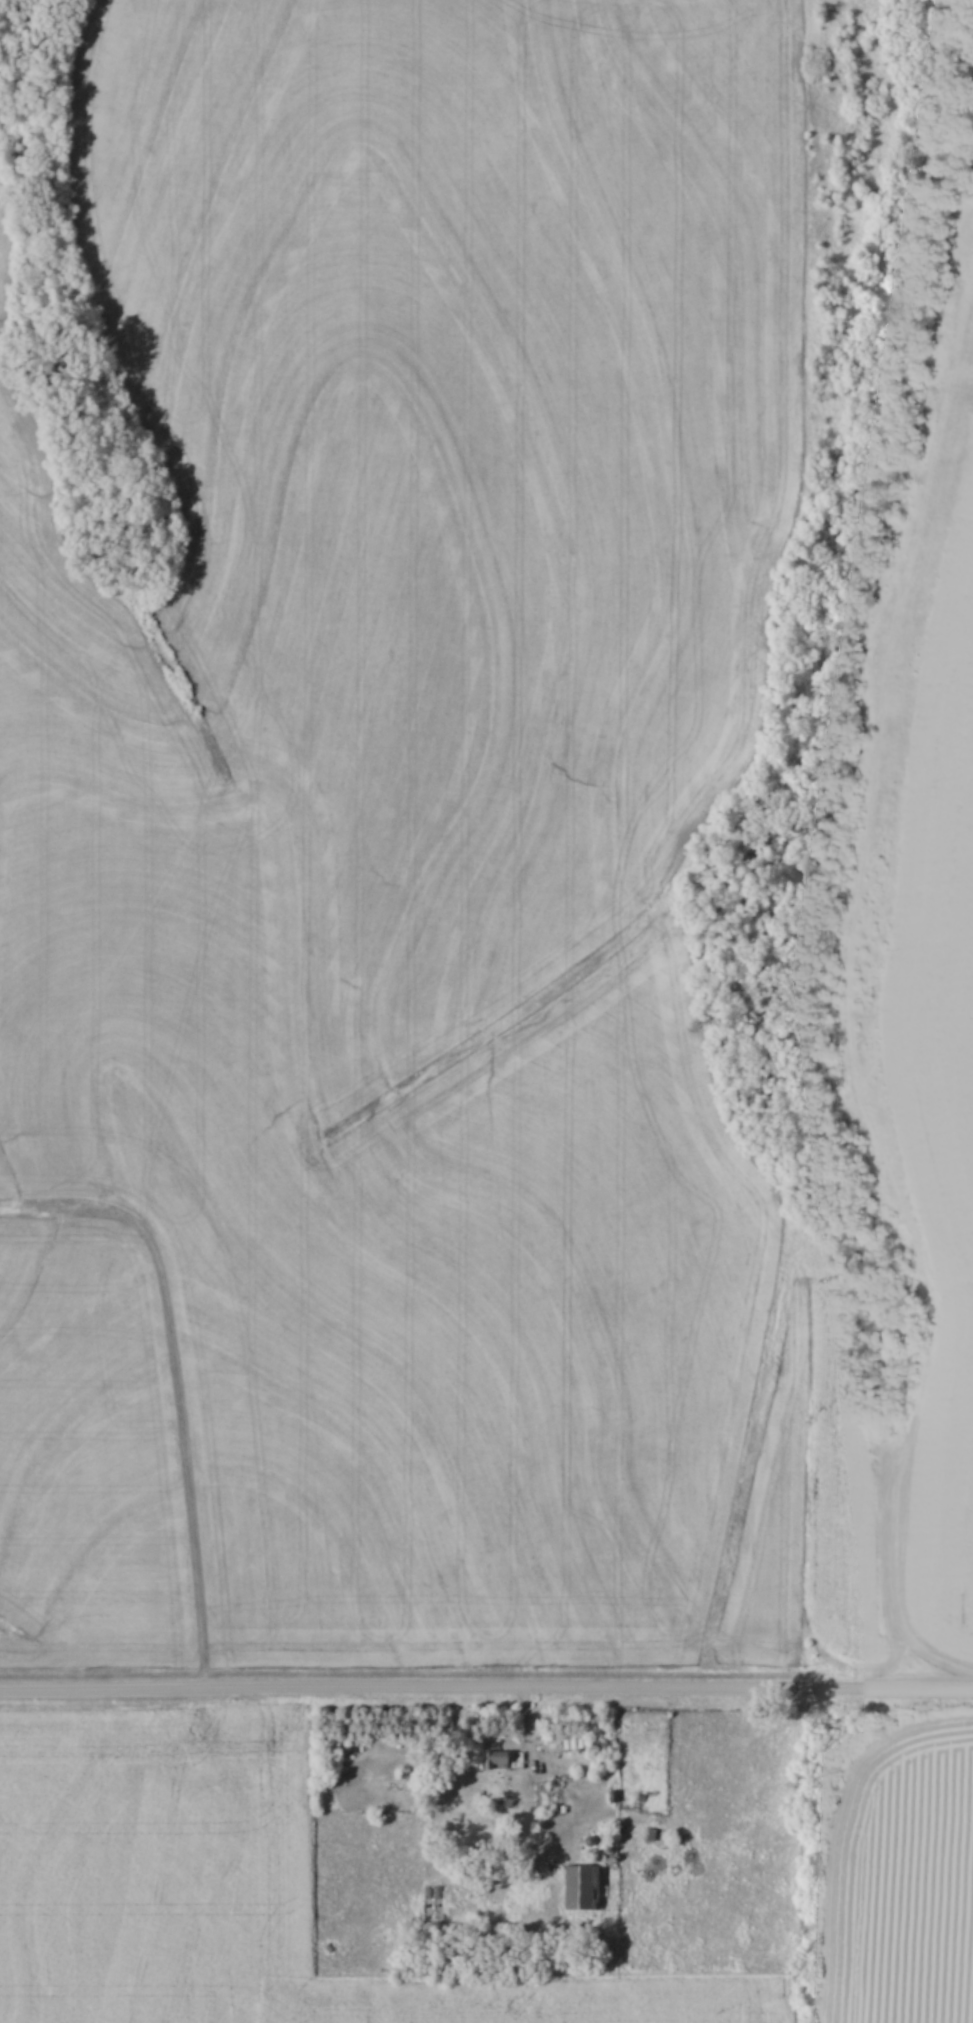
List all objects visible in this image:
road: (486, 1690)
building: (499, 1760)
building: (576, 1888)

